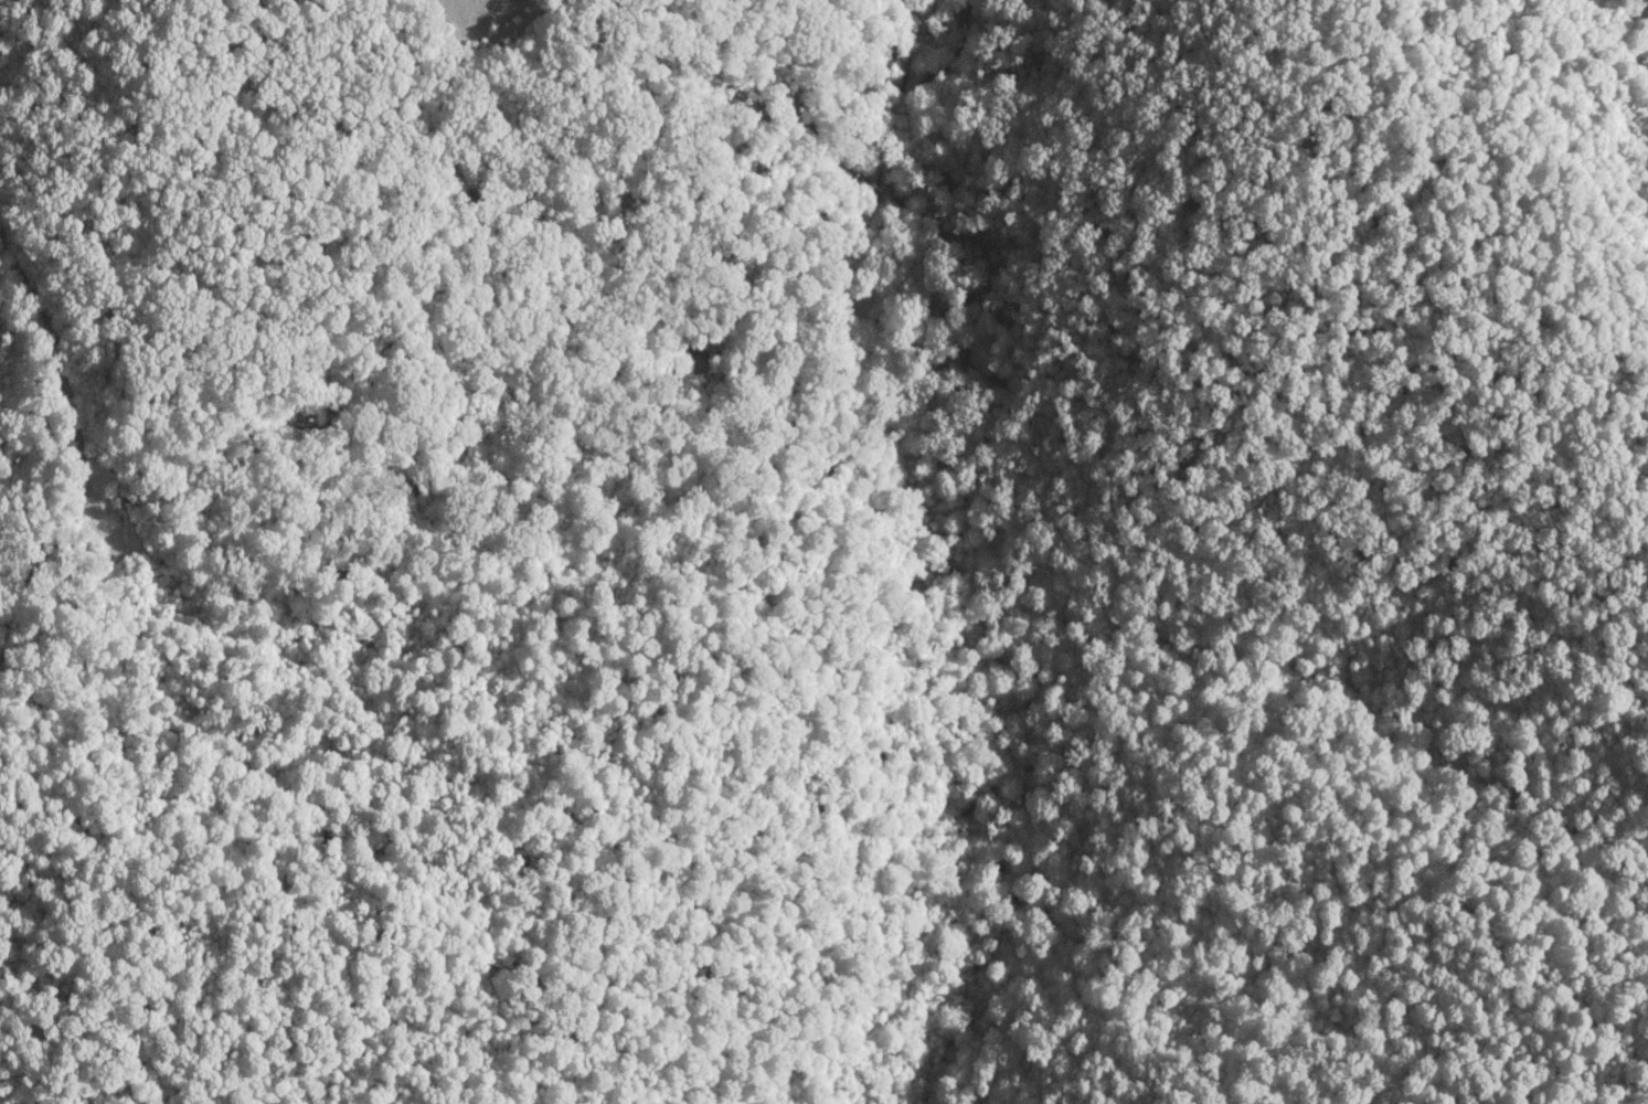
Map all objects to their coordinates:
road: (49, 434)

